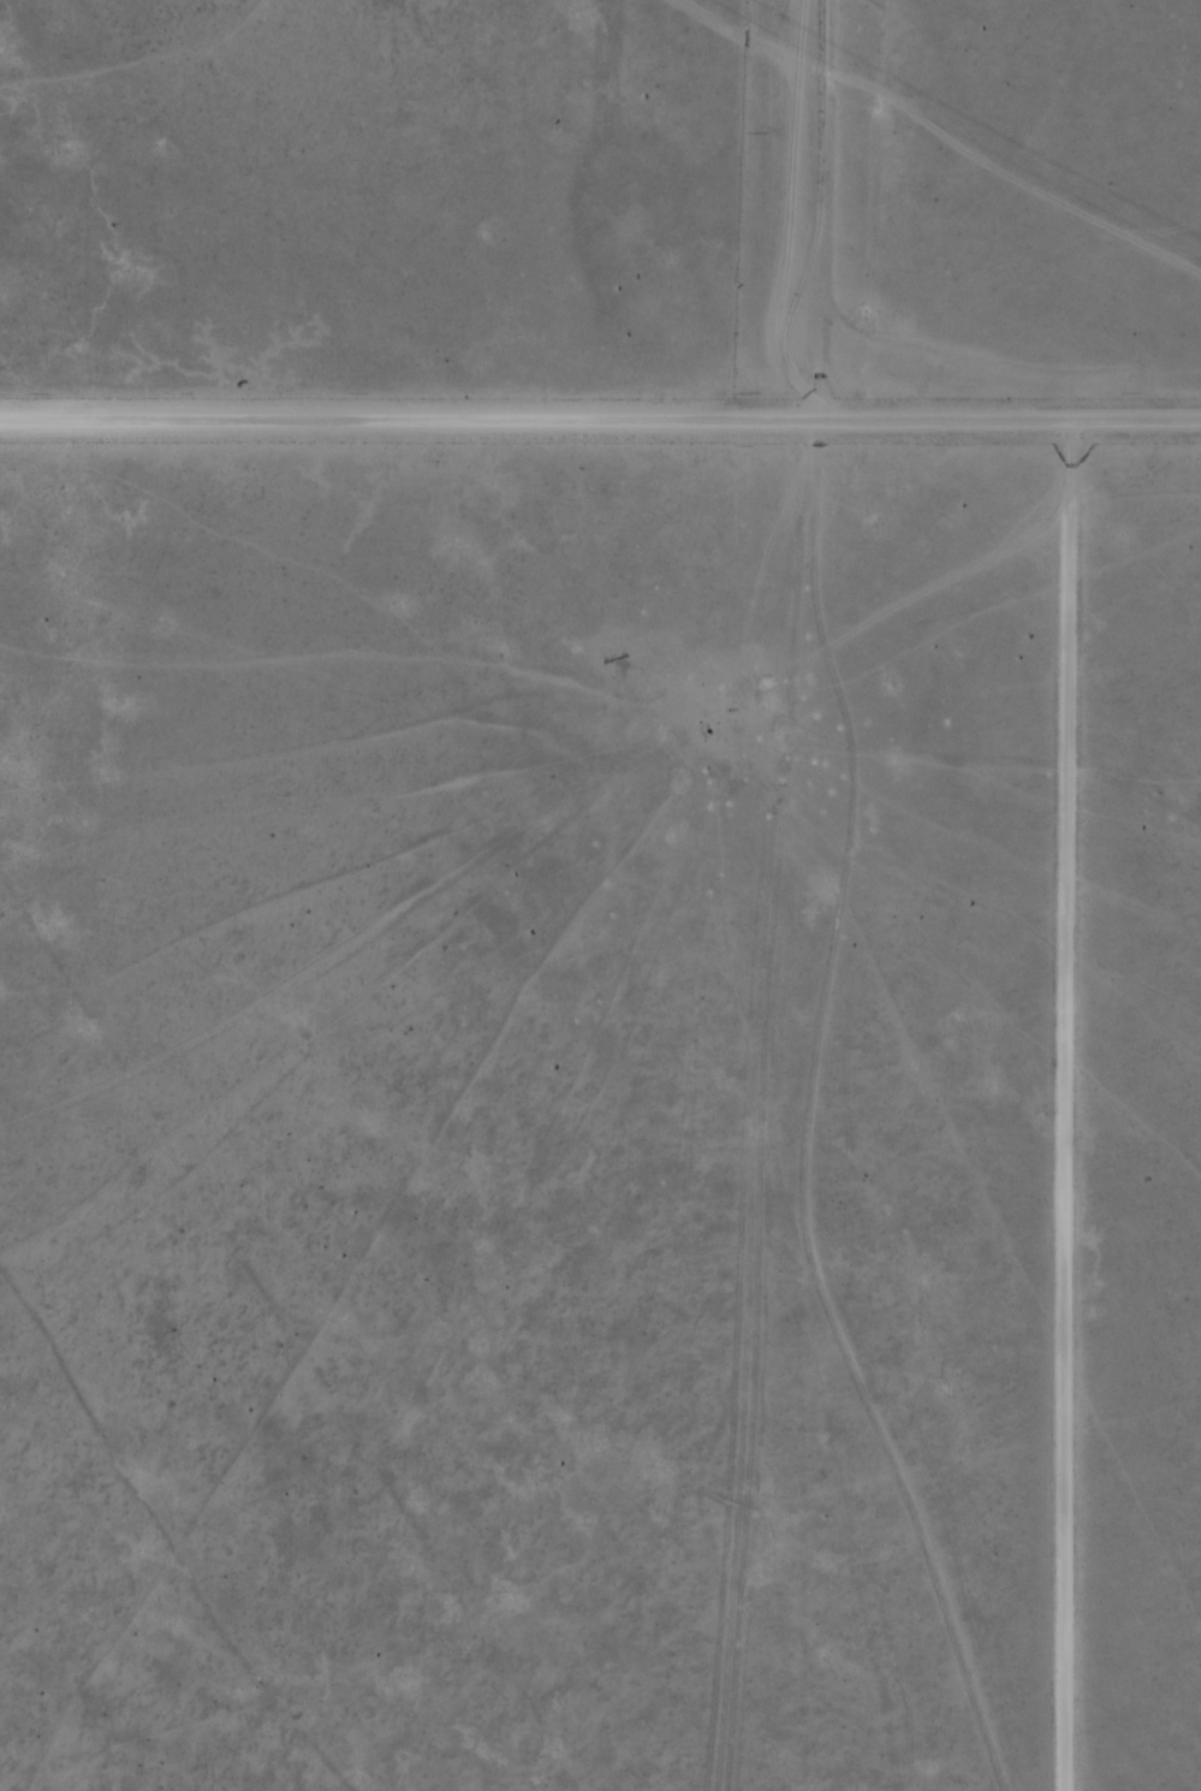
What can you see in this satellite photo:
road: (600, 410)
road: (787, 1102)

